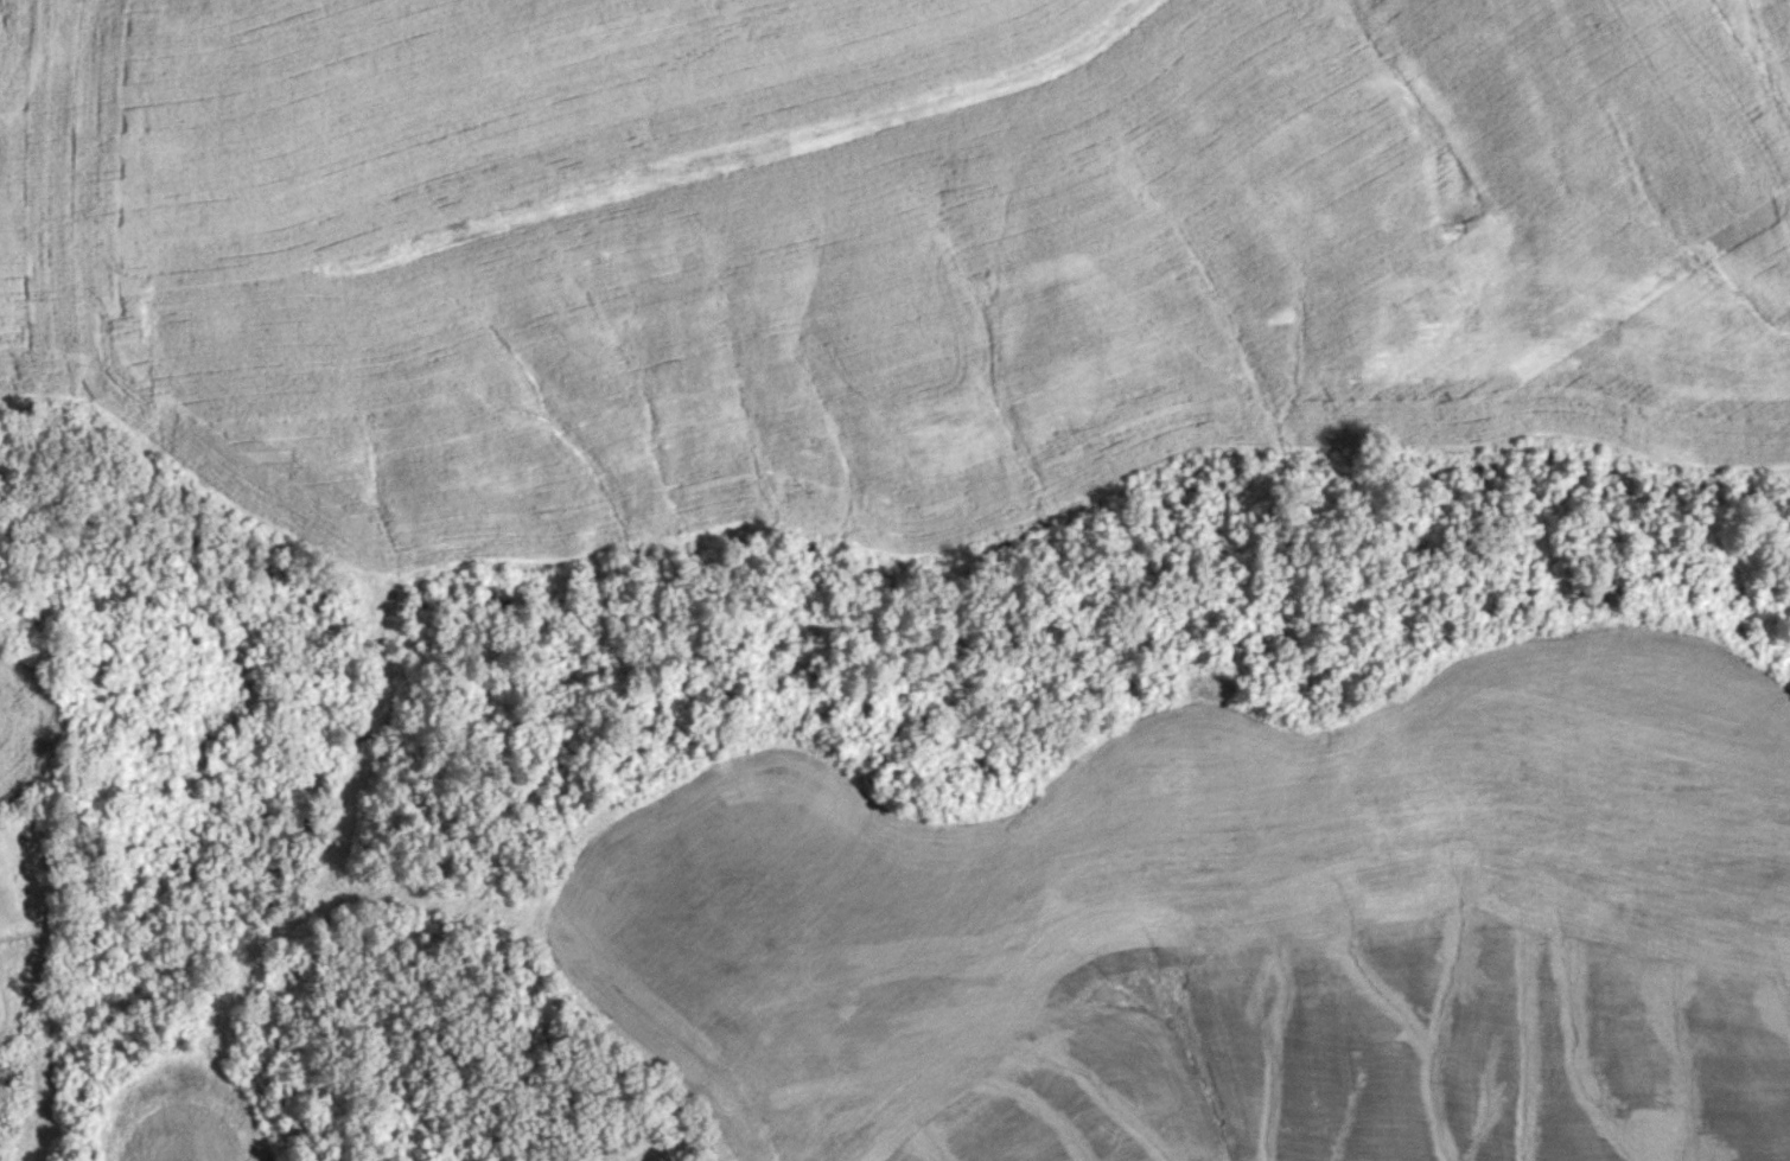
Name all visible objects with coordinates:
crop: (909, 261)

